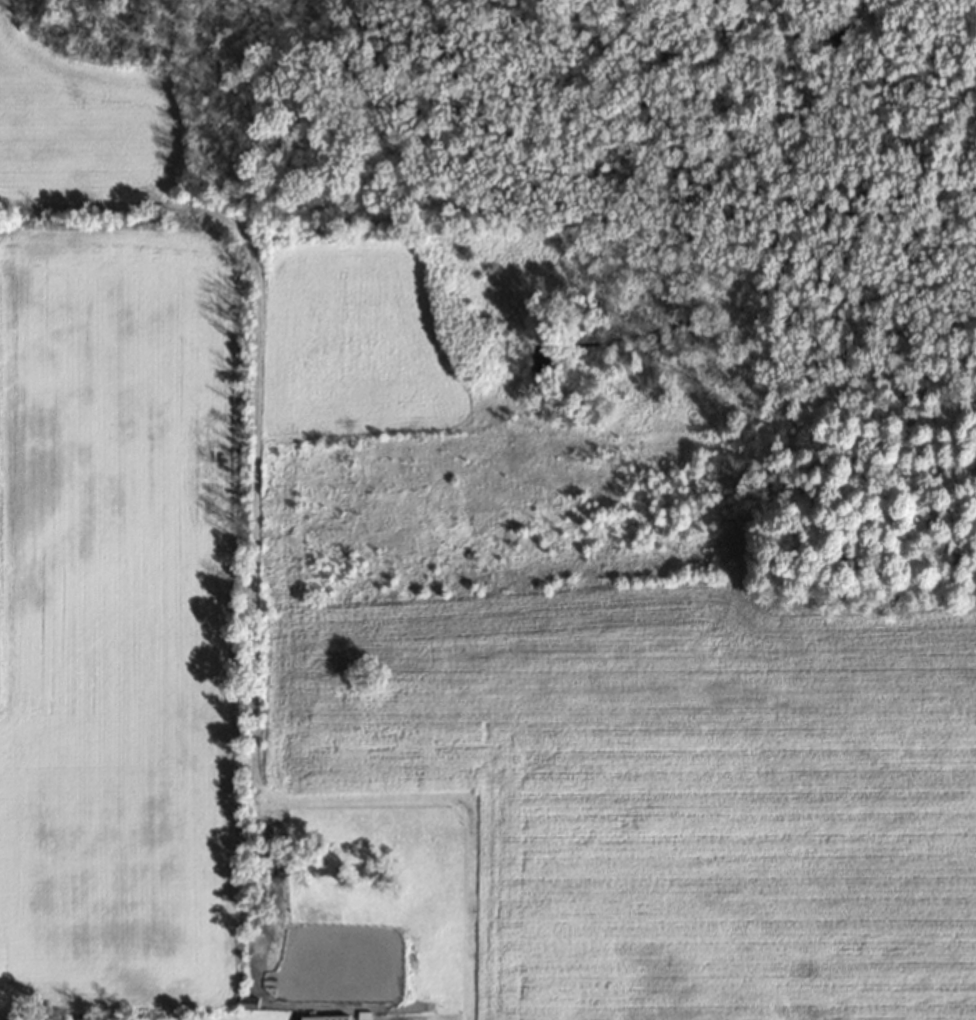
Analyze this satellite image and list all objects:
building: (245, 1002)

